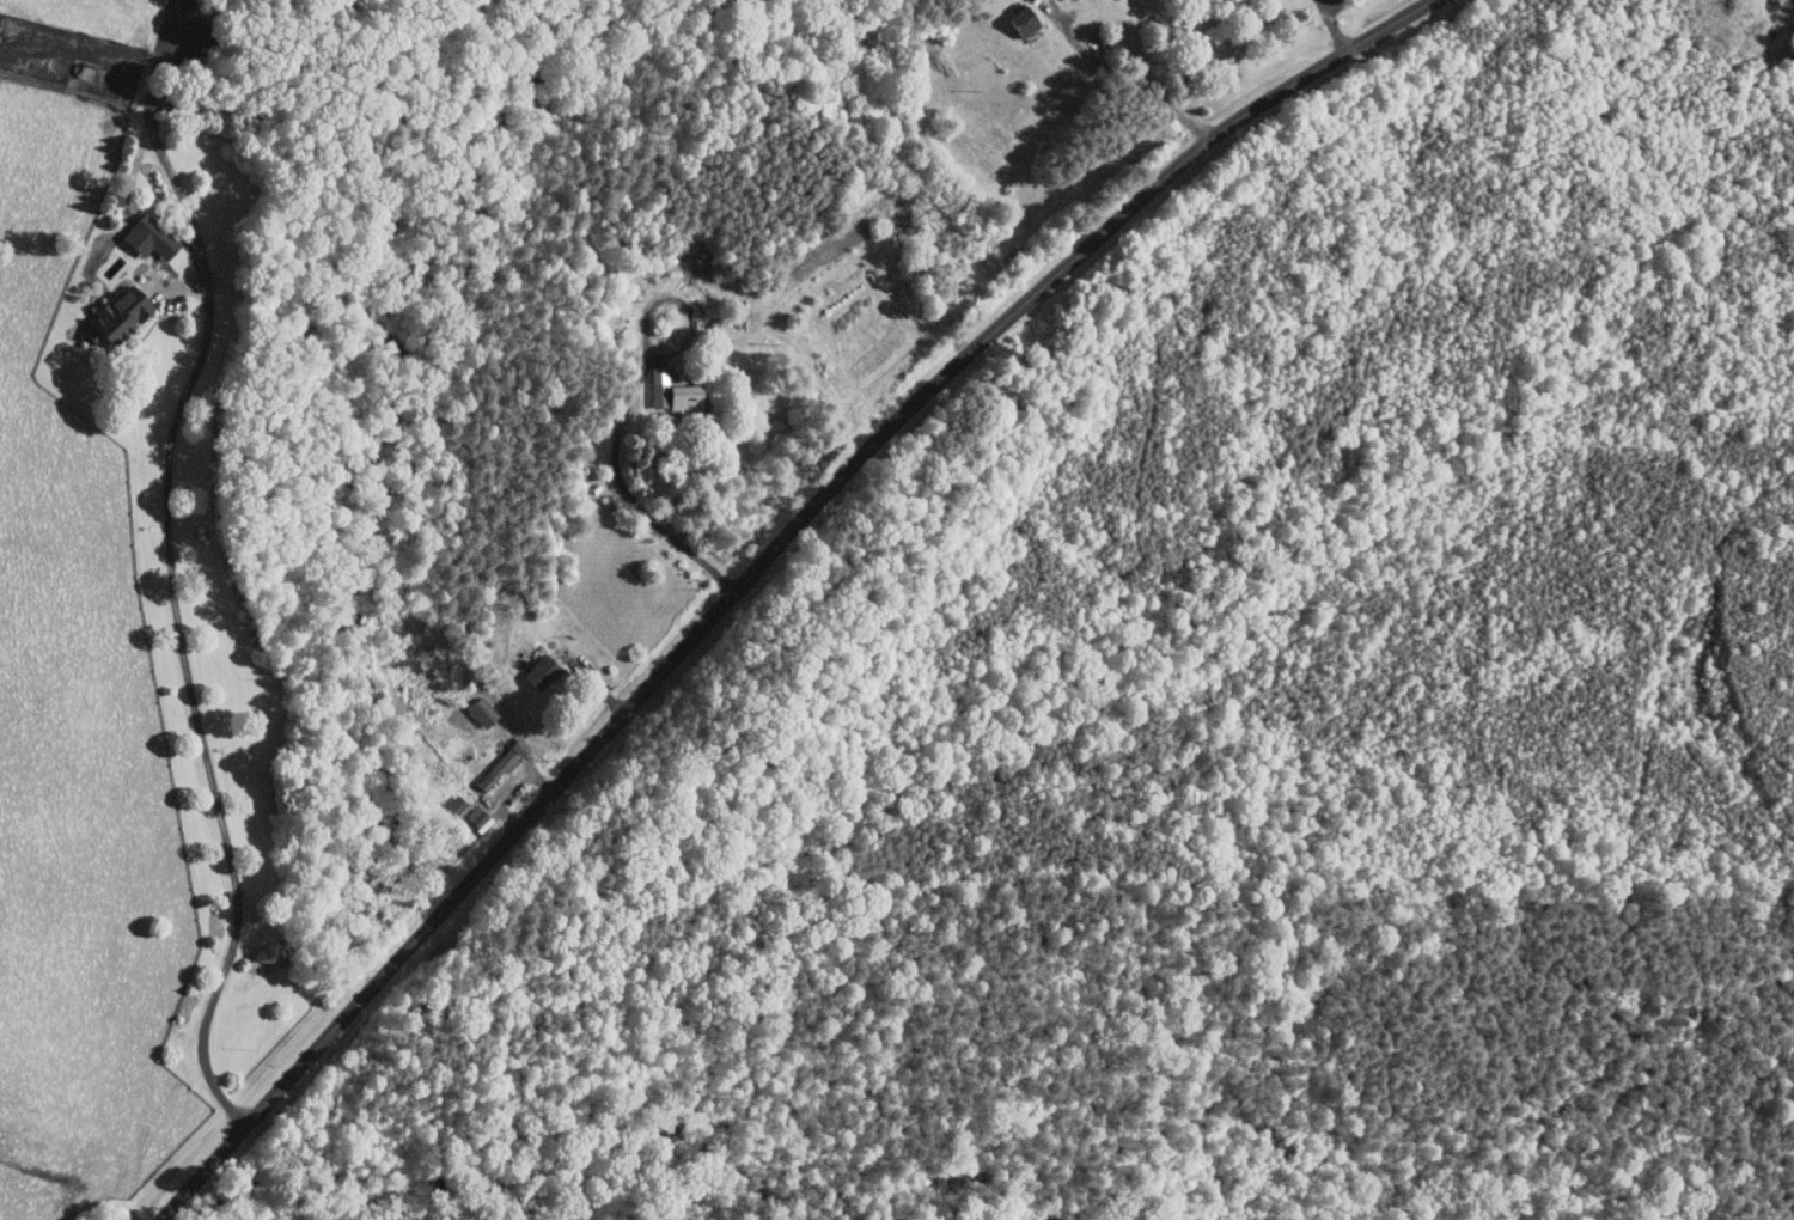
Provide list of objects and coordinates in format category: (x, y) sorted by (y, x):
building: (1029, 0)
building: (1019, 22)
building: (673, 397)
road: (629, 404)
road: (758, 567)
building: (537, 671)
building: (478, 709)
road: (197, 713)
building: (504, 758)
road: (512, 786)

